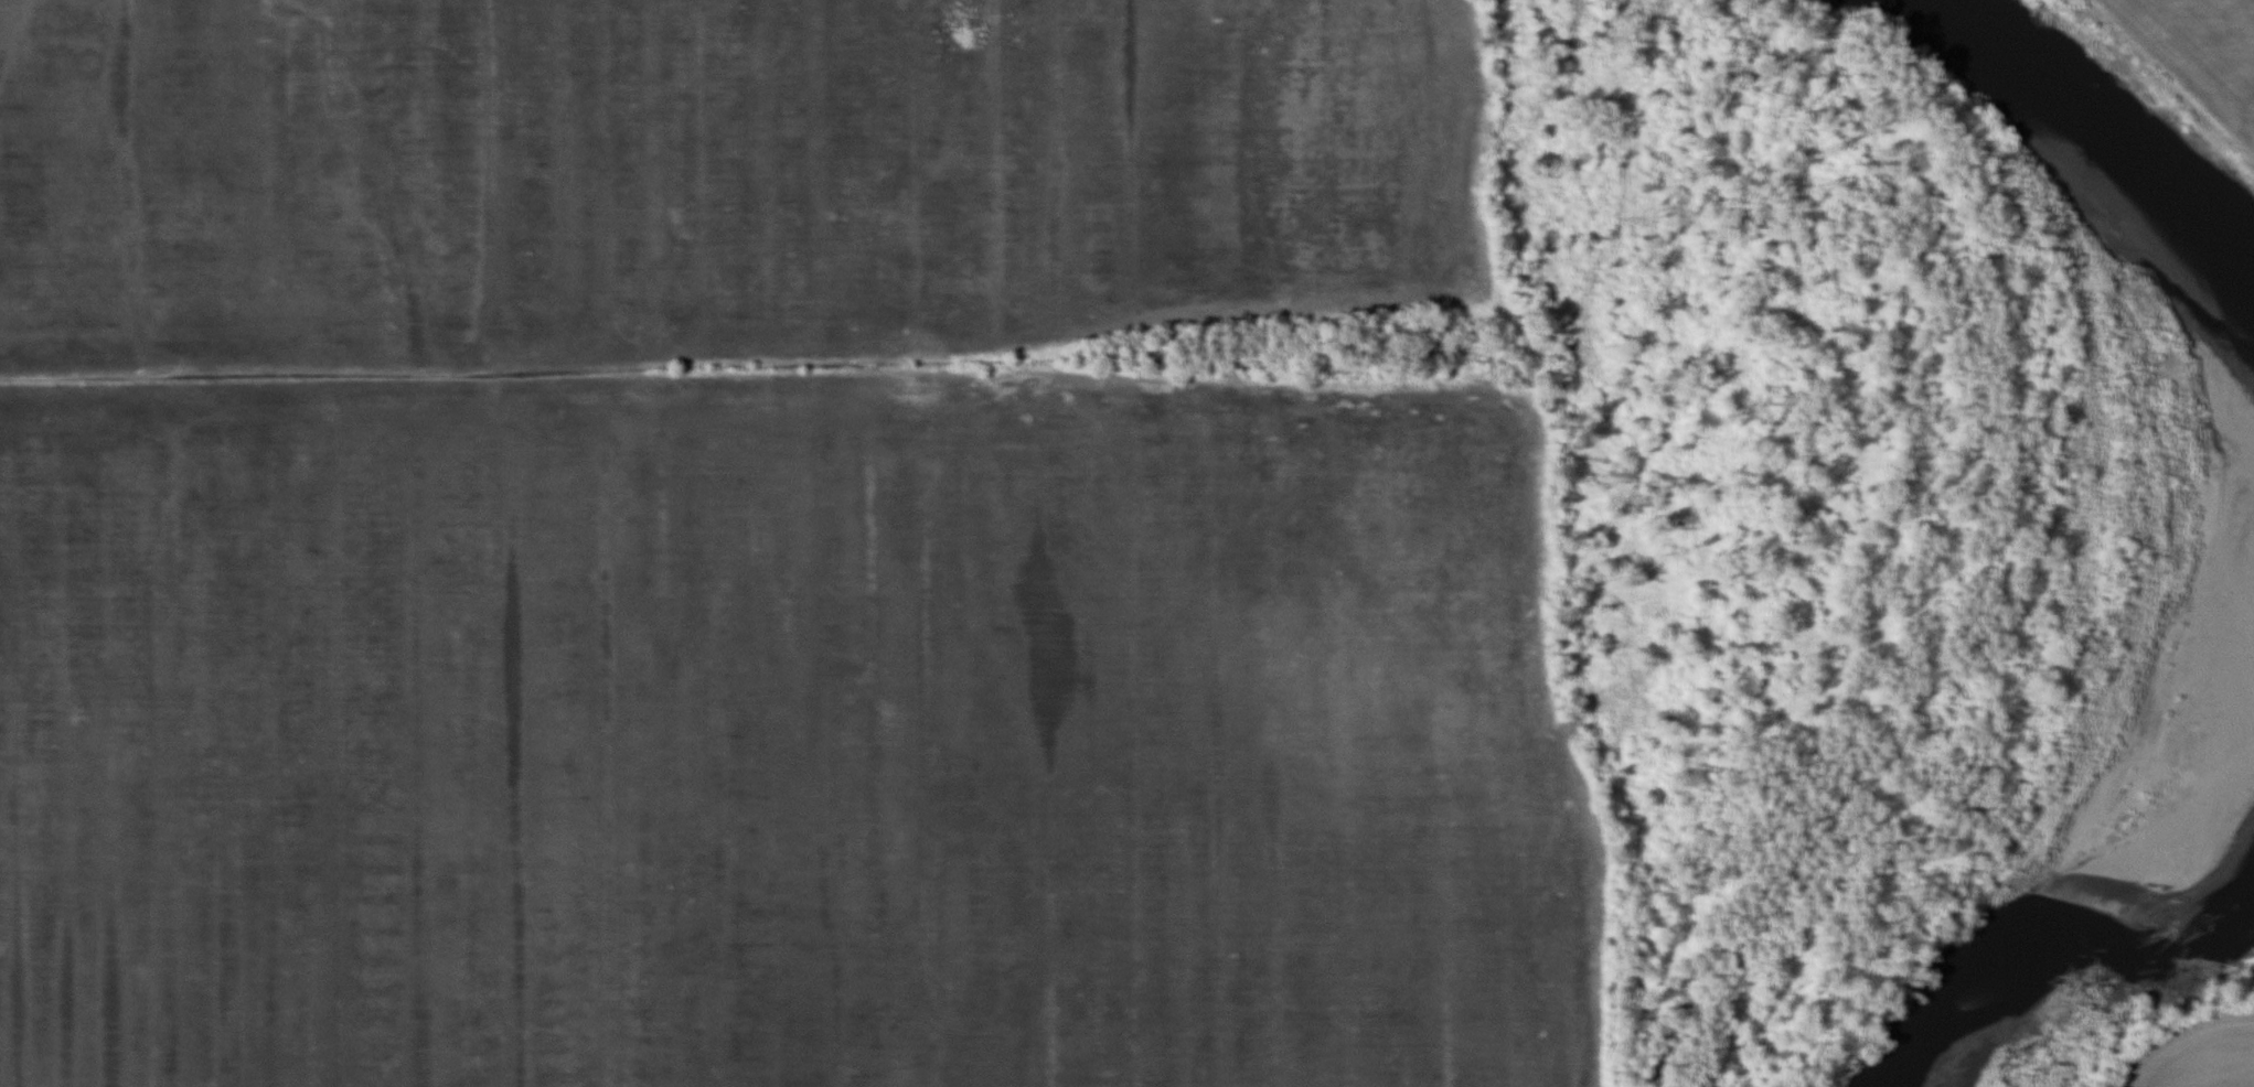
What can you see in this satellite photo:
river: (2229, 564)

